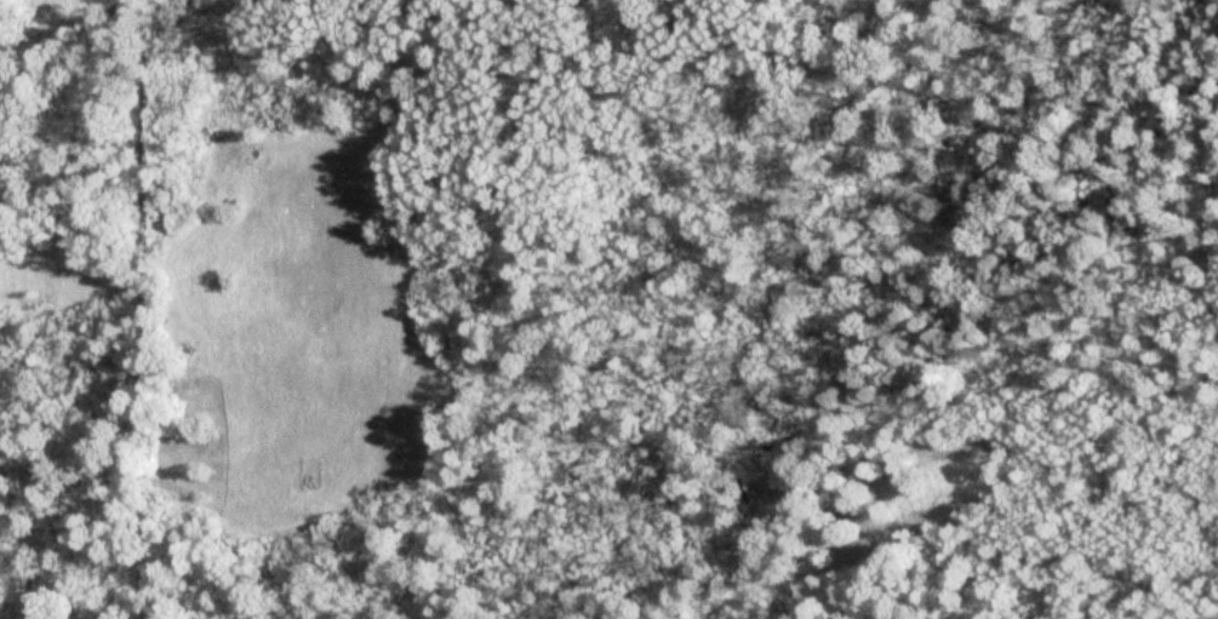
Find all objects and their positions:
road: (127, 309)

